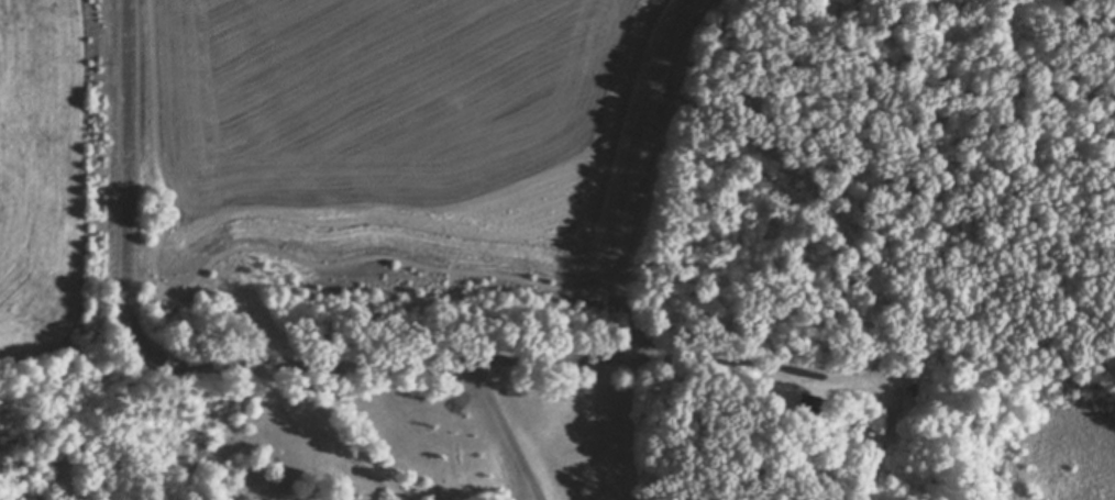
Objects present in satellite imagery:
road: (267, 360)
building: (807, 407)
road: (330, 426)
road: (505, 427)

